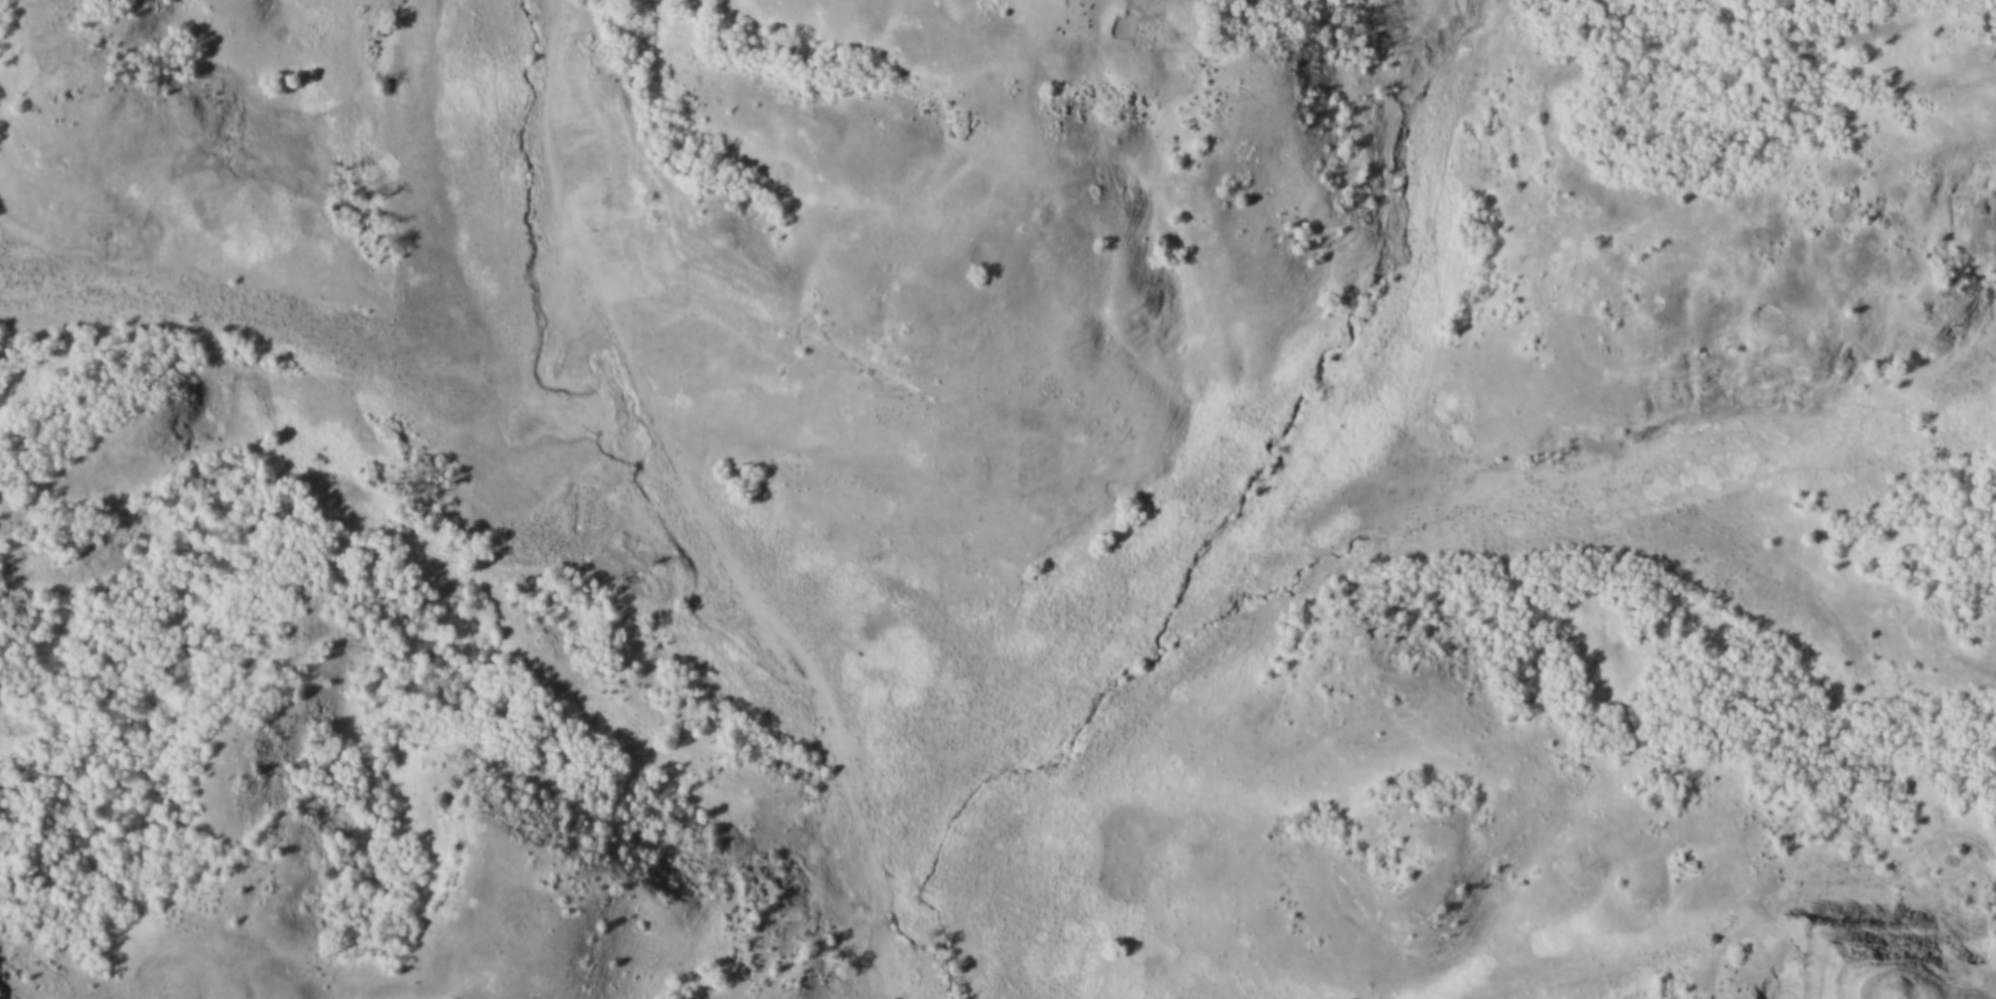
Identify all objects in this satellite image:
road: (703, 506)
road: (1246, 575)

